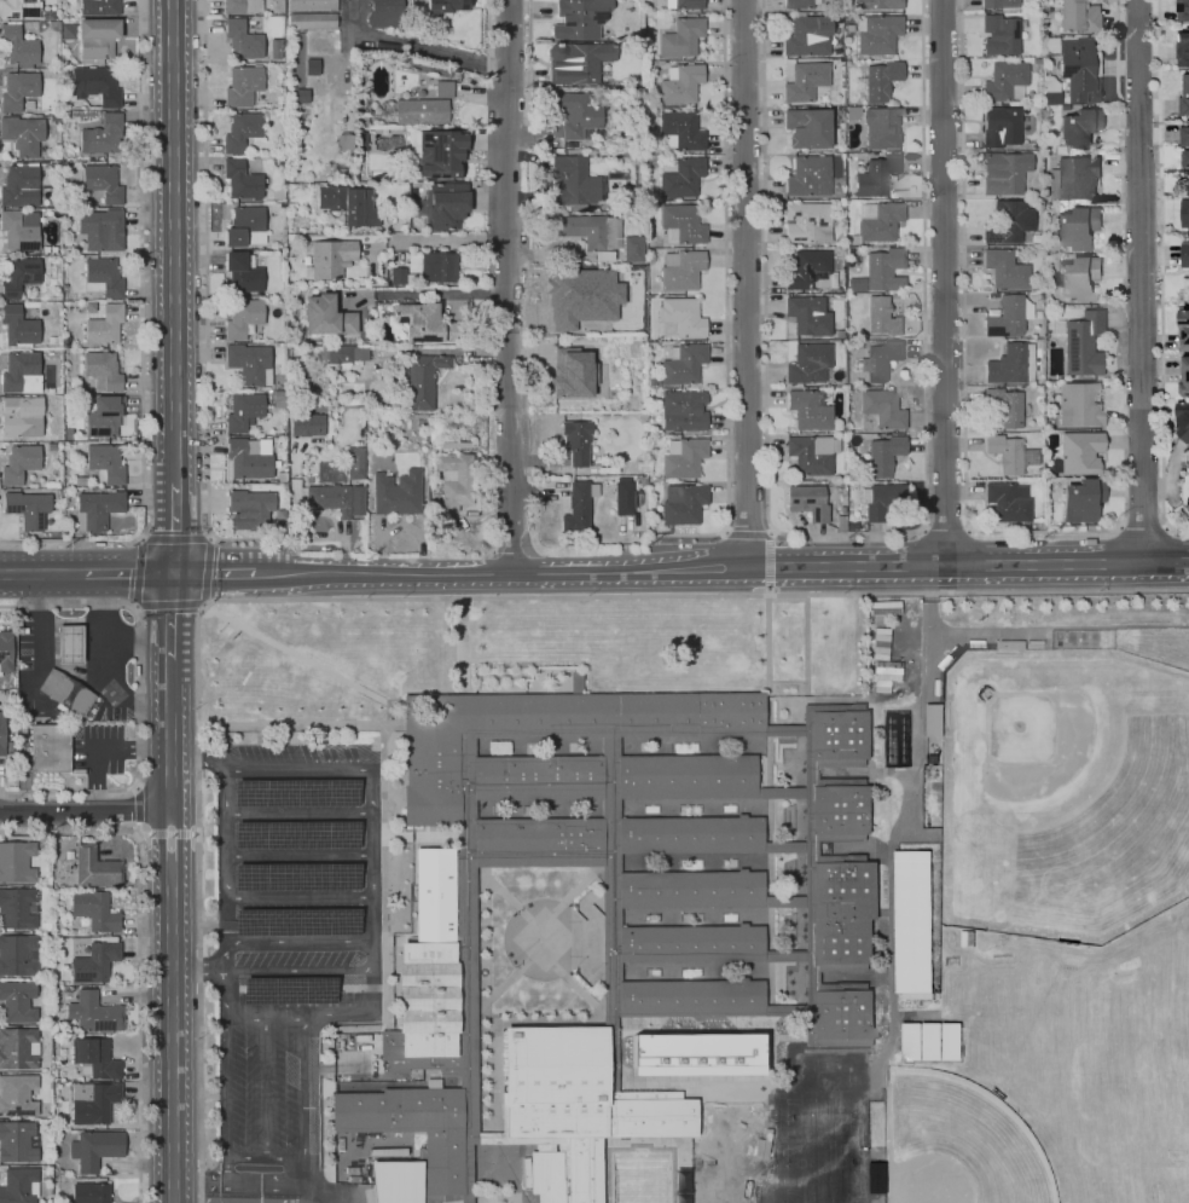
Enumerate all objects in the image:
building: (683, 4)
building: (796, 4)
building: (1000, 4)
building: (877, 5)
building: (242, 6)
building: (443, 6)
building: (99, 7)
building: (18, 8)
building: (1182, 10)
building: (384, 13)
building: (311, 15)
building: (48, 16)
building: (1077, 16)
building: (579, 18)
building: (848, 18)
building: (53, 25)
building: (848, 29)
building: (68, 31)
road: (487, 33)
building: (876, 34)
building: (999, 35)
building: (807, 36)
building: (680, 37)
building: (95, 39)
building: (242, 40)
road: (529, 42)
building: (17, 46)
road: (414, 47)
building: (1183, 48)
building: (274, 50)
building: (576, 62)
building: (311, 66)
building: (1078, 70)
building: (880, 80)
building: (805, 81)
building: (1004, 81)
building: (680, 83)
building: (98, 85)
building: (243, 87)
building: (443, 89)
building: (17, 91)
building: (636, 94)
building: (1049, 94)
building: (1184, 98)
building: (360, 102)
building: (28, 105)
building: (1066, 108)
building: (420, 111)
building: (70, 112)
building: (852, 112)
building: (576, 115)
building: (52, 117)
building: (361, 121)
building: (807, 127)
building: (883, 127)
building: (1000, 127)
building: (1079, 128)
building: (240, 131)
building: (679, 131)
building: (22, 134)
building: (103, 134)
building: (1184, 137)
building: (360, 141)
building: (344, 143)
building: (441, 154)
building: (1184, 158)
building: (336, 173)
building: (1004, 173)
building: (615, 175)
building: (876, 175)
building: (807, 177)
building: (681, 178)
building: (1074, 178)
building: (240, 180)
building: (101, 183)
building: (573, 184)
building: (19, 185)
building: (72, 199)
building: (349, 204)
building: (443, 206)
building: (308, 213)
building: (1184, 213)
building: (878, 221)
building: (806, 222)
building: (1008, 222)
building: (680, 224)
building: (98, 227)
building: (245, 227)
building: (1078, 229)
building: (19, 230)
building: (592, 233)
road: (431, 241)
road: (173, 242)
building: (632, 249)
building: (1185, 255)
building: (329, 258)
building: (649, 259)
building: (437, 267)
building: (1004, 268)
building: (680, 270)
building: (883, 270)
building: (810, 271)
building: (242, 272)
building: (398, 276)
road: (1160, 276)
building: (18, 277)
building: (103, 277)
building: (1078, 278)
road: (1139, 280)
road: (946, 282)
road: (744, 283)
building: (854, 284)
building: (64, 287)
road: (505, 287)
building: (1033, 288)
road: (434, 293)
building: (576, 295)
road: (725, 303)
road: (207, 305)
building: (93, 312)
building: (807, 316)
building: (884, 316)
building: (242, 317)
building: (325, 317)
building: (681, 317)
building: (1008, 317)
building: (424, 323)
building: (17, 325)
building: (104, 325)
building: (1055, 328)
building: (1183, 329)
building: (837, 334)
building: (295, 335)
building: (51, 340)
building: (65, 340)
road: (140, 341)
building: (335, 341)
building: (1083, 343)
building: (342, 353)
building: (295, 357)
building: (878, 360)
building: (249, 363)
building: (807, 363)
building: (681, 364)
building: (1007, 365)
building: (64, 366)
building: (103, 370)
building: (19, 374)
building: (578, 377)
building: (1184, 378)
building: (650, 381)
building: (418, 382)
building: (657, 384)
building: (318, 405)
building: (1079, 405)
building: (1007, 406)
building: (882, 407)
building: (807, 409)
building: (243, 411)
building: (683, 411)
building: (104, 416)
building: (430, 417)
building: (19, 418)
building: (439, 418)
building: (1183, 420)
building: (418, 423)
building: (306, 424)
building: (841, 424)
building: (458, 441)
building: (576, 441)
building: (42, 444)
building: (812, 453)
building: (1078, 453)
building: (883, 455)
building: (1009, 455)
building: (248, 457)
building: (683, 457)
building: (18, 463)
building: (104, 463)
building: (355, 463)
building: (282, 475)
road: (1172, 478)
building: (453, 480)
building: (79, 481)
building: (642, 481)
building: (396, 492)
building: (622, 498)
building: (327, 499)
building: (883, 501)
building: (1080, 501)
building: (807, 502)
building: (1008, 502)
building: (681, 504)
building: (578, 507)
building: (97, 508)
building: (28, 509)
building: (250, 509)
building: (840, 522)
building: (1040, 525)
building: (852, 526)
road: (946, 527)
road: (175, 528)
road: (1142, 528)
road: (747, 530)
traffic signals: (175, 531)
road: (1044, 531)
road: (845, 533)
road: (175, 538)
building: (591, 538)
road: (768, 561)
road: (967, 563)
road: (138, 572)
road: (41, 573)
road: (127, 573)
traffic signals: (134, 573)
road: (210, 573)
road: (211, 573)
traffic signals: (216, 573)
road: (498, 573)
road: (926, 579)
road: (396, 597)
road: (169, 605)
building: (884, 608)
road: (927, 611)
traffic signals: (169, 613)
road: (169, 617)
road: (82, 621)
road: (1057, 626)
road: (139, 636)
building: (70, 643)
road: (462, 646)
building: (5, 650)
road: (303, 658)
road: (99, 661)
flagpole: (399, 677)
road: (787, 679)
building: (65, 692)
building: (934, 719)
road: (300, 723)
road: (787, 729)
building: (1, 731)
building: (841, 735)
building: (898, 739)
road: (617, 745)
building: (51, 747)
building: (431, 760)
road: (268, 769)
building: (685, 776)
building: (536, 777)
road: (787, 791)
road: (59, 792)
park: (1084, 806)
road: (617, 808)
road: (134, 810)
building: (841, 810)
road: (85, 812)
road: (297, 812)
road: (768, 819)
road: (806, 820)
road: (224, 833)
road: (424, 833)
road: (167, 834)
building: (689, 834)
building: (536, 838)
road: (788, 845)
road: (849, 848)
road: (298, 855)
road: (893, 856)
road: (538, 860)
building: (16, 861)
road: (690, 862)
building: (94, 868)
road: (383, 879)
parking lot: (290, 880)
road: (610, 880)
road: (578, 886)
building: (689, 889)
road: (372, 891)
road: (503, 892)
road: (298, 898)
road: (788, 900)
building: (16, 908)
building: (93, 910)
building: (843, 912)
road: (466, 913)
building: (613, 914)
road: (690, 916)
building: (913, 921)
road: (170, 932)
road: (593, 937)
road: (298, 941)
building: (690, 943)
road: (138, 952)
building: (17, 954)
road: (788, 954)
road: (226, 956)
road: (610, 959)
building: (94, 961)
building: (429, 962)
road: (690, 970)
road: (300, 971)
road: (198, 972)
road: (573, 974)
road: (851, 977)
road: (504, 984)
road: (579, 990)
building: (690, 997)
building: (16, 1001)
road: (789, 1010)
building: (93, 1013)
building: (842, 1014)
road: (300, 1016)
road: (608, 1020)
road: (619, 1020)
road: (492, 1022)
building: (911, 1041)
building: (940, 1041)
road: (793, 1045)
building: (17, 1047)
building: (695, 1053)
building: (94, 1059)
road: (226, 1076)
road: (387, 1081)
road: (265, 1086)
parking lot: (266, 1086)
building: (16, 1094)
building: (576, 1100)
building: (94, 1103)
road: (306, 1105)
park: (822, 1117)
building: (442, 1139)
building: (17, 1140)
park: (958, 1144)
building: (94, 1149)
road: (266, 1157)
park: (741, 1163)
park: (822, 1163)
building: (545, 1176)
road: (239, 1182)
building: (18, 1185)
building: (89, 1193)
park: (822, 1195)
park: (741, 1196)
road: (300, 1198)
road: (309, 1198)
road: (325, 1198)
road: (186, 1199)

